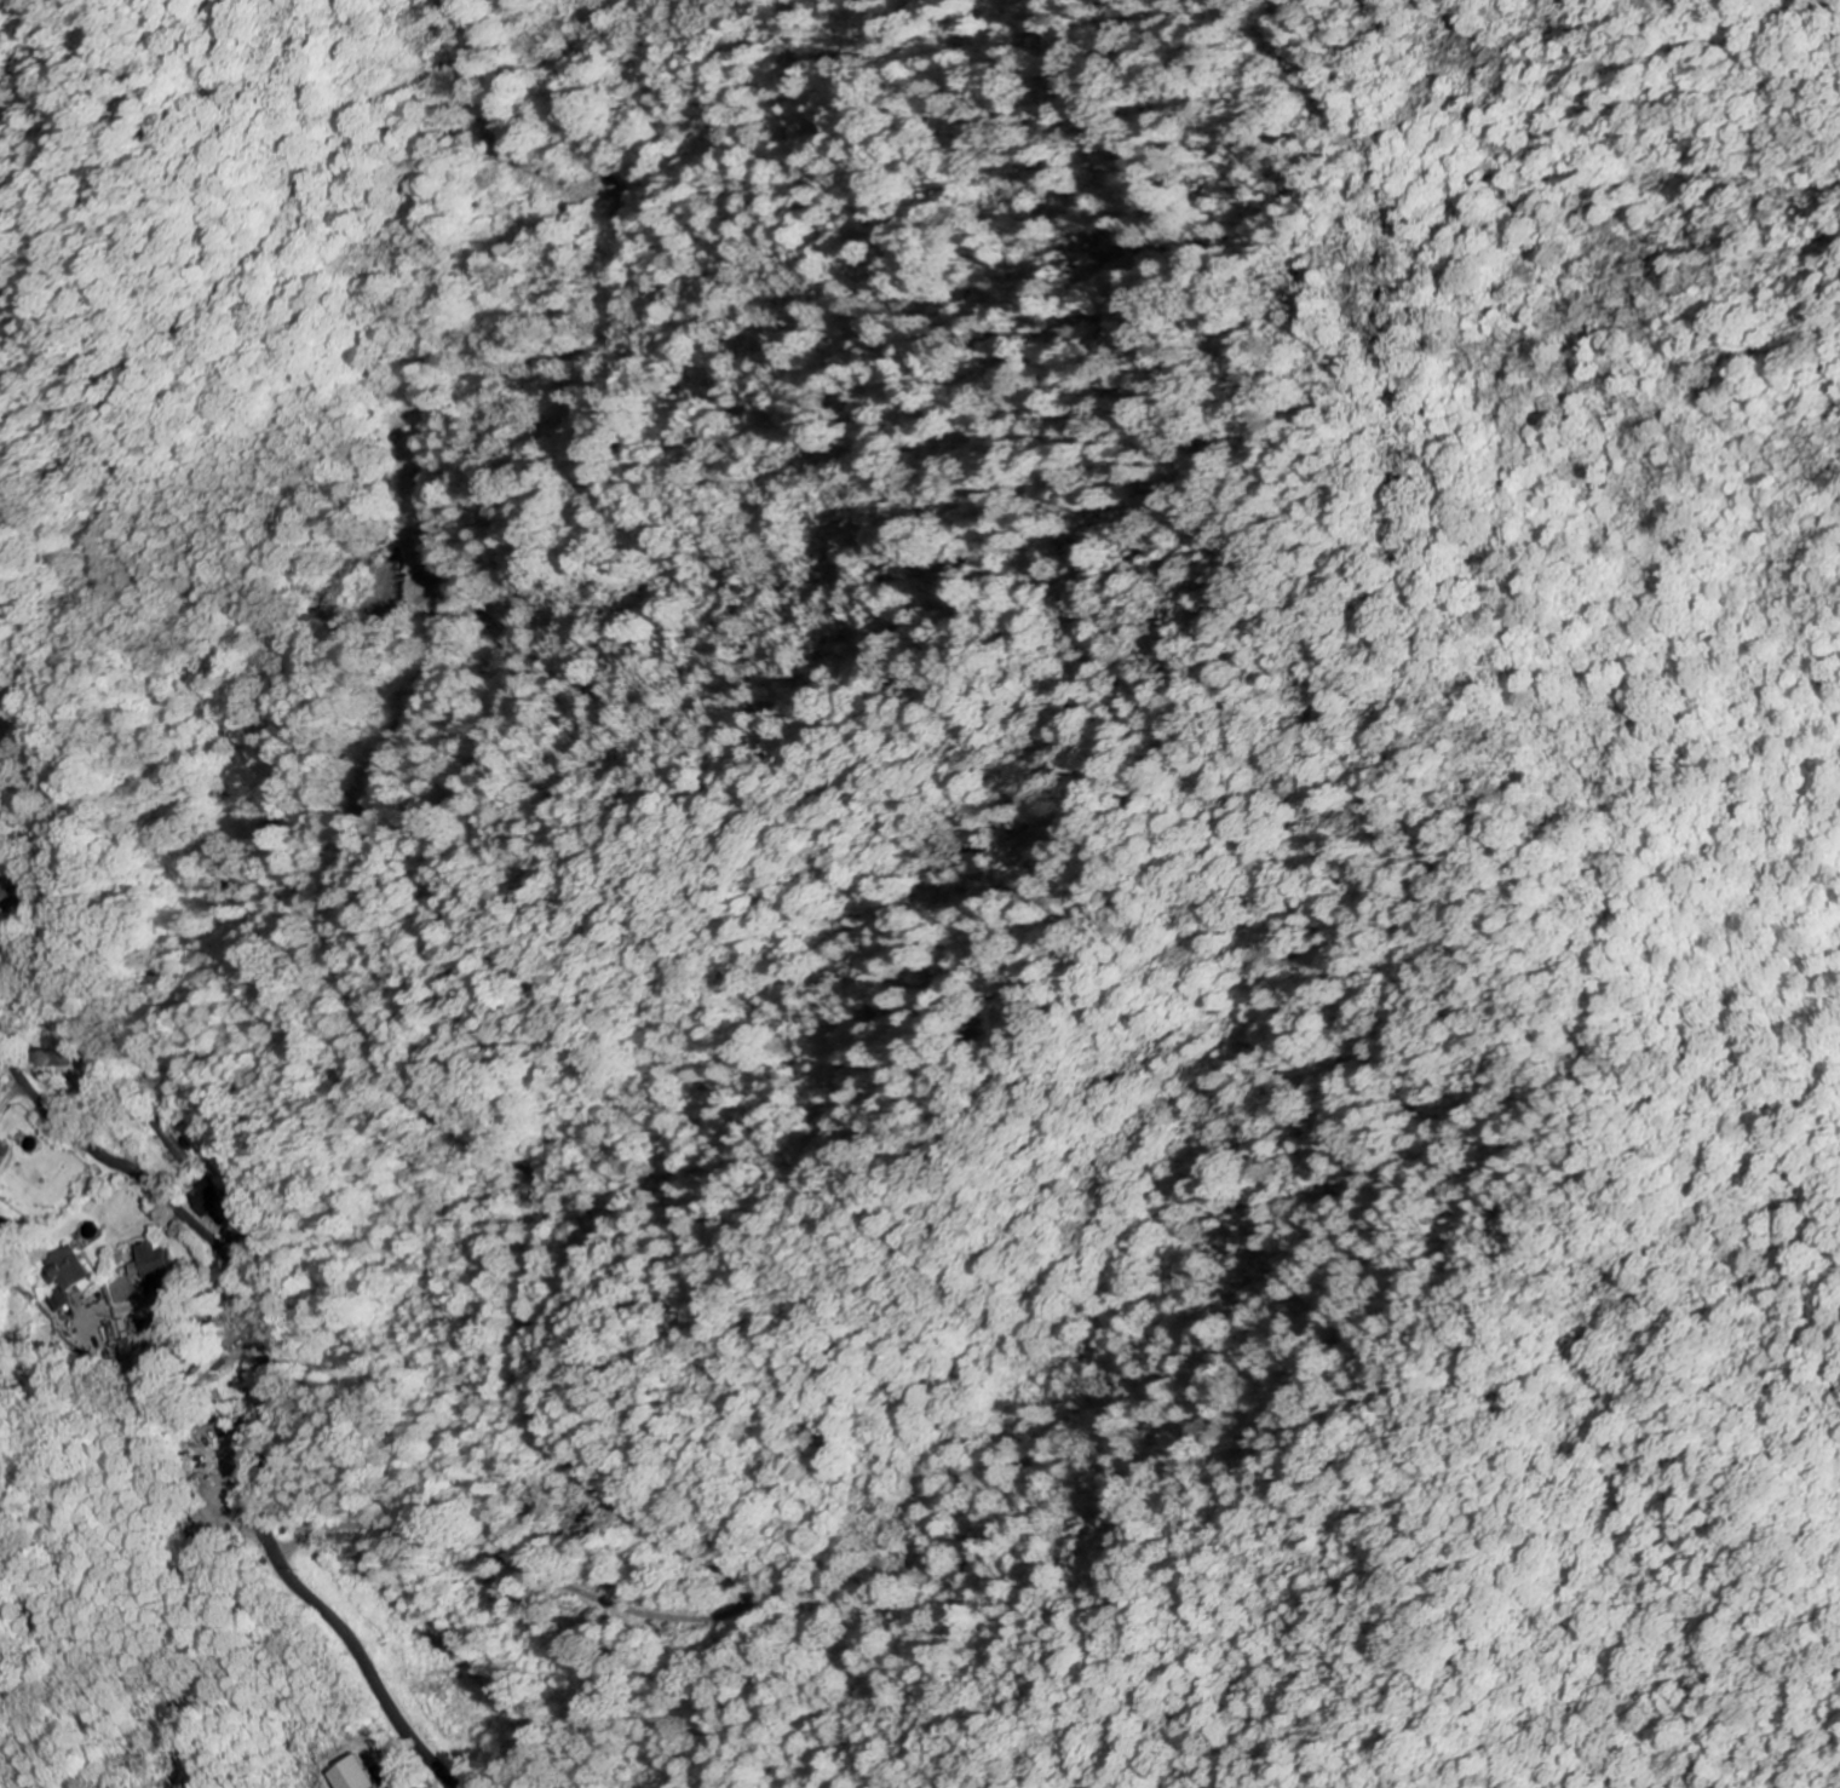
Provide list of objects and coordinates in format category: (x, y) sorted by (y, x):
building: (12, 890)
road: (75, 1133)
building: (6, 1156)
building: (215, 1196)
road: (237, 1203)
building: (5, 1238)
building: (155, 1261)
building: (63, 1276)
road: (166, 1300)
road: (264, 1518)
building: (347, 1773)

